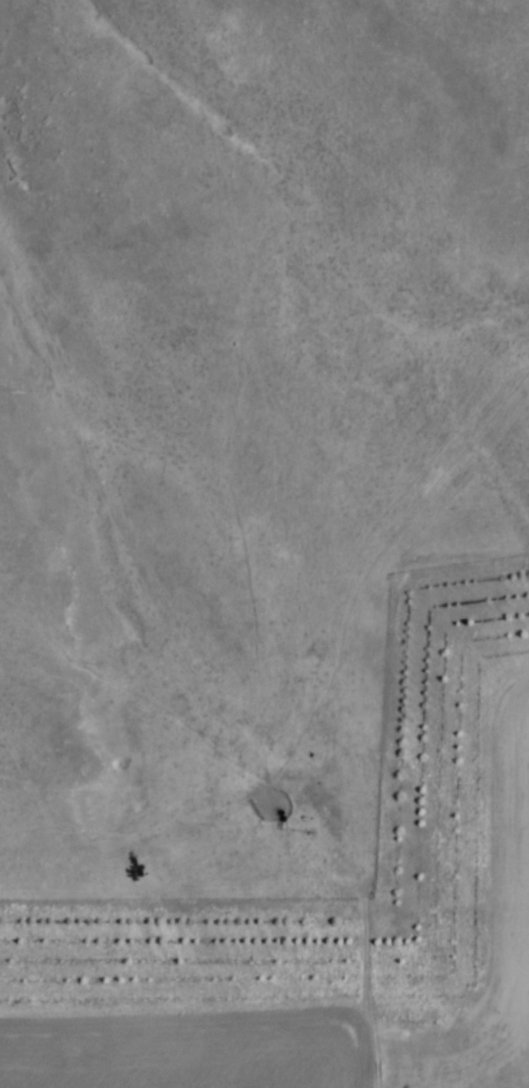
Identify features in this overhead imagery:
crop: (502, 821)

